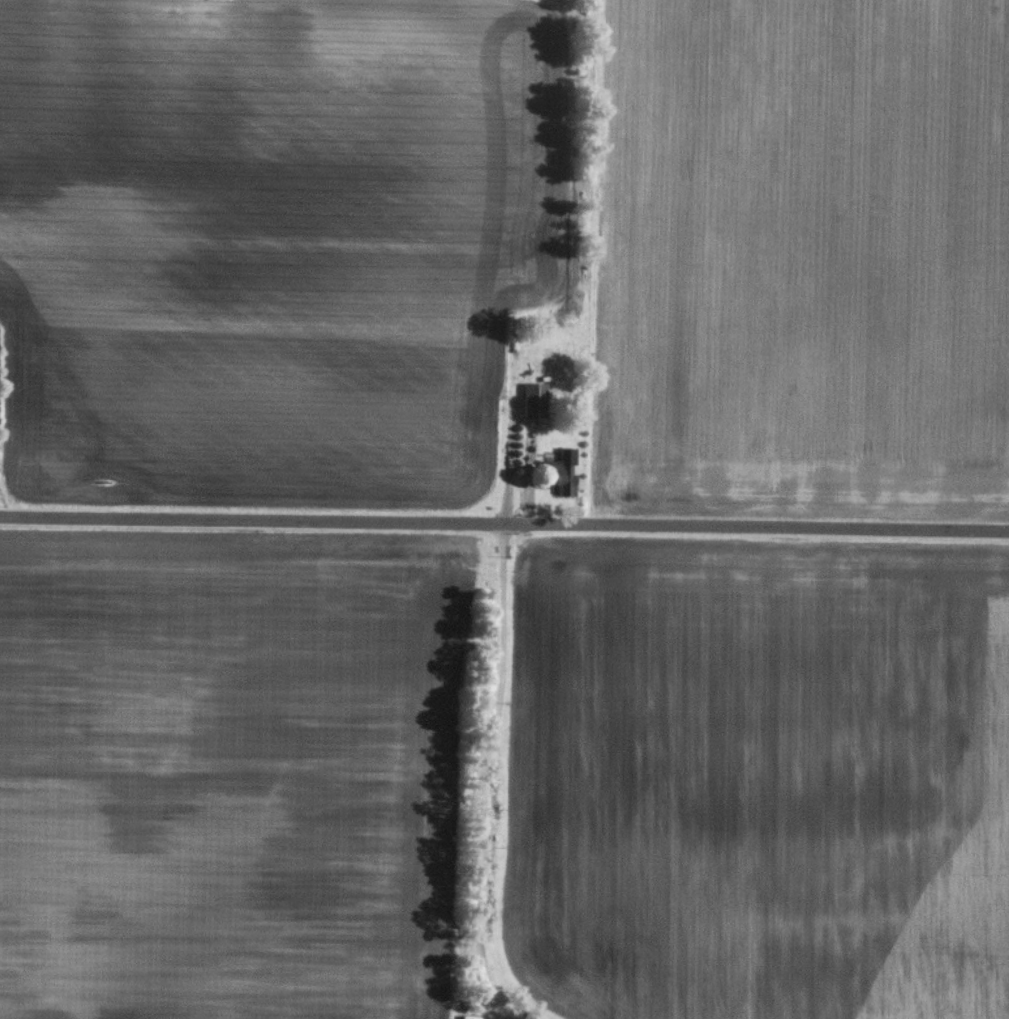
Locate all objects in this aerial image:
building: (531, 399)
building: (560, 470)
road: (504, 524)
road: (479, 769)
road: (491, 1015)

